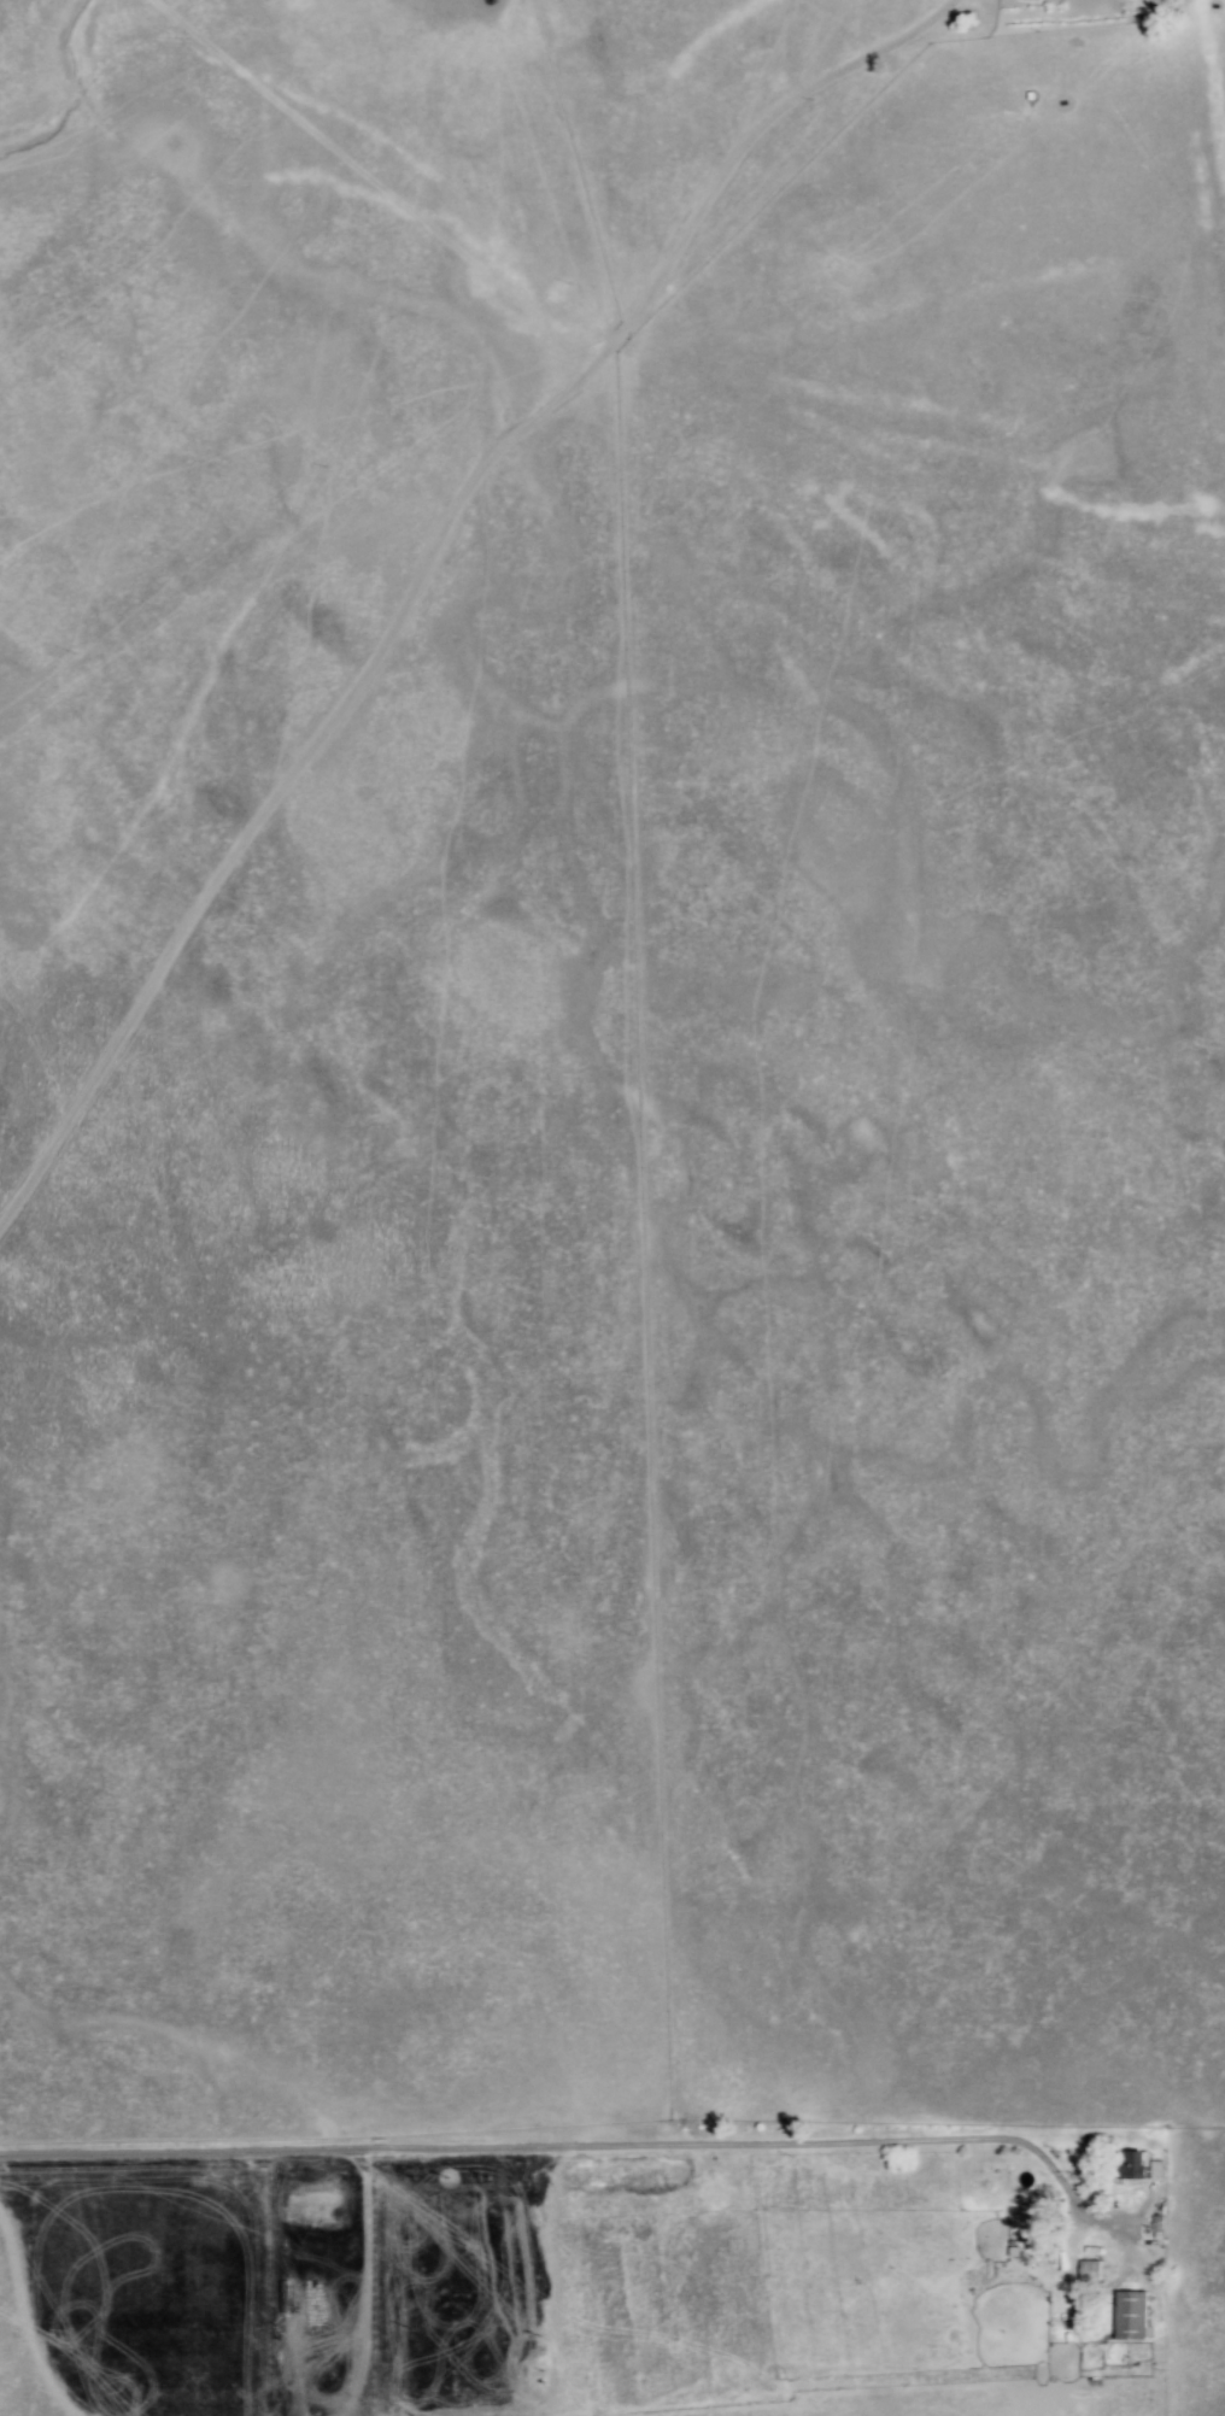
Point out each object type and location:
road: (444, 617)
road: (578, 2142)
building: (1127, 2317)

